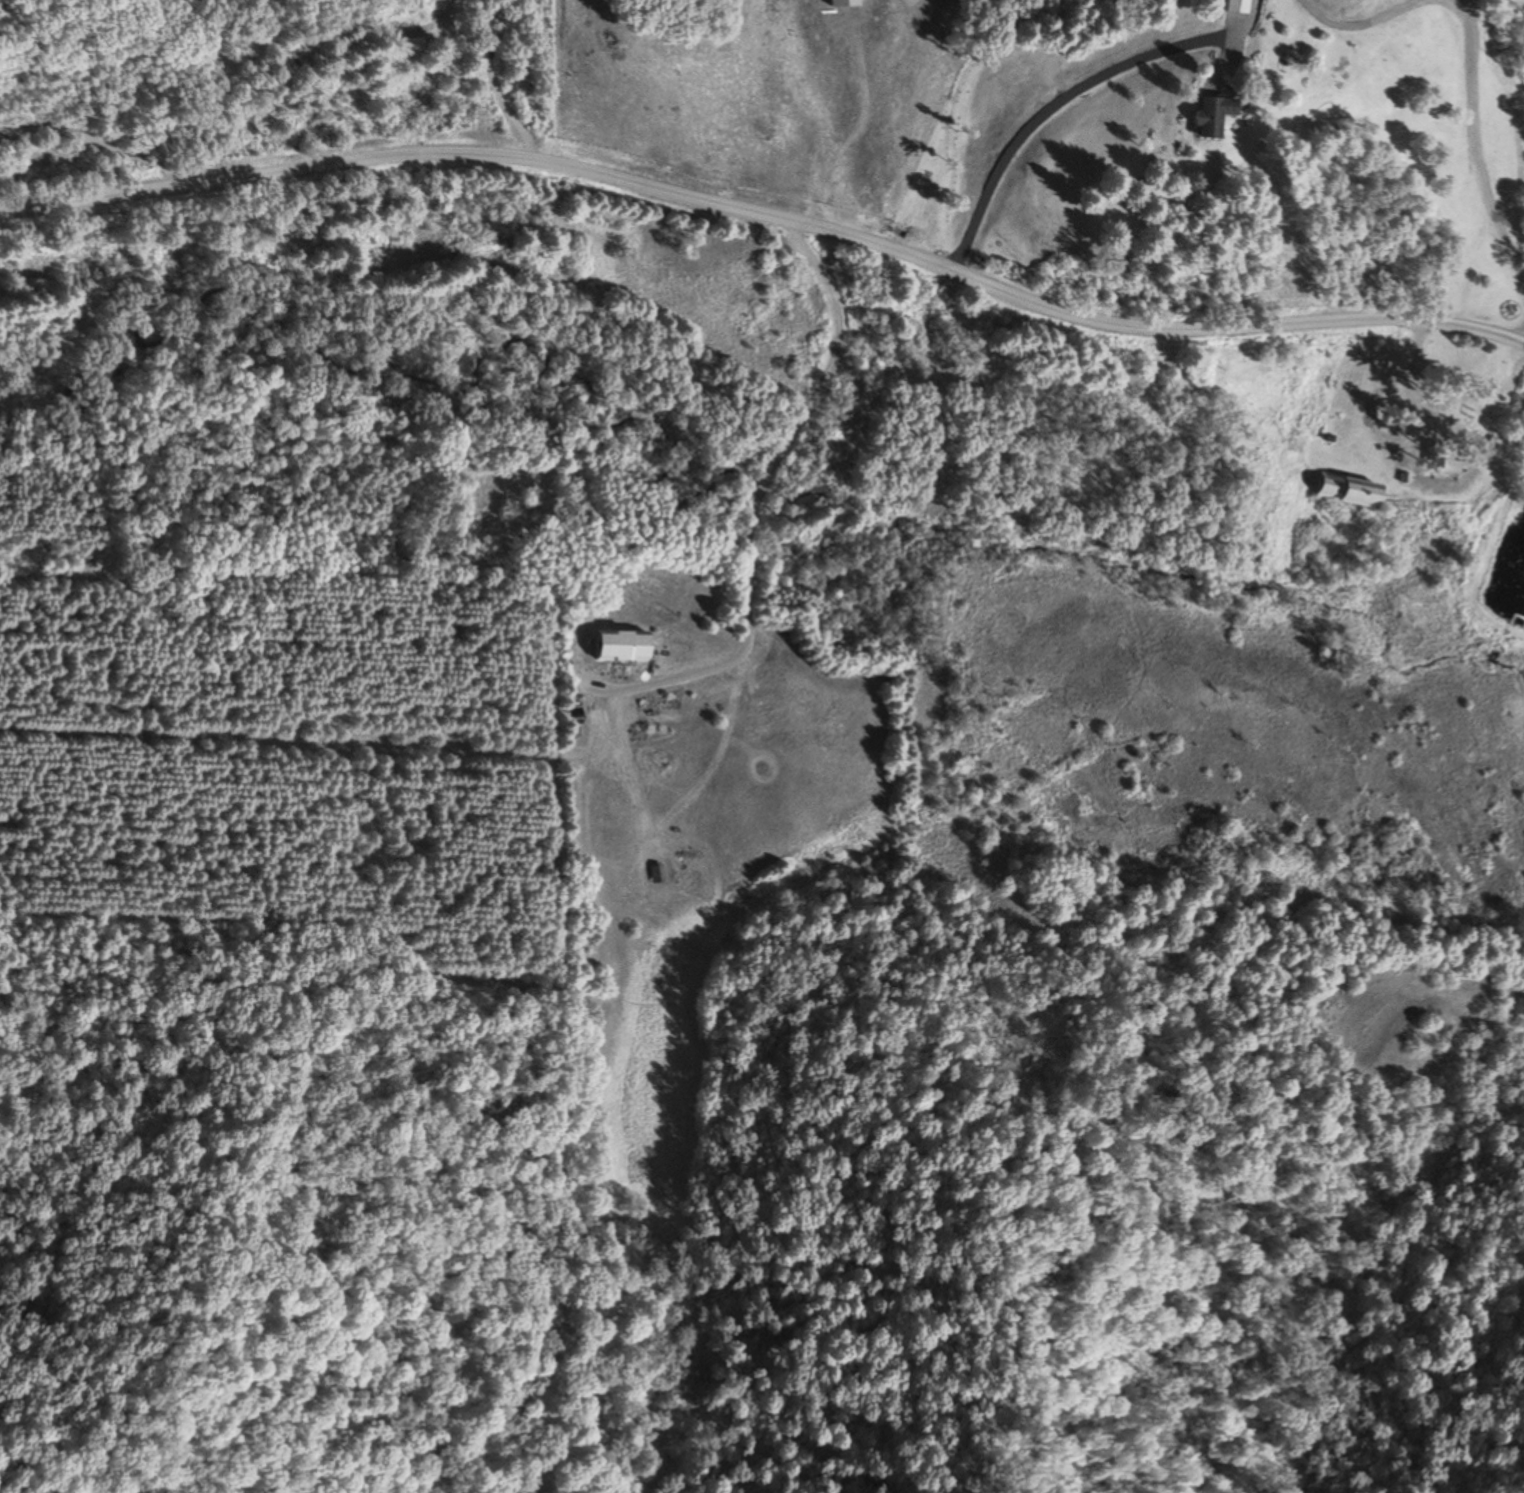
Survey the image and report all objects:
building: (1238, 6)
building: (1215, 116)
road: (772, 206)
building: (1447, 463)
building: (1350, 491)
building: (621, 646)
building: (656, 873)

